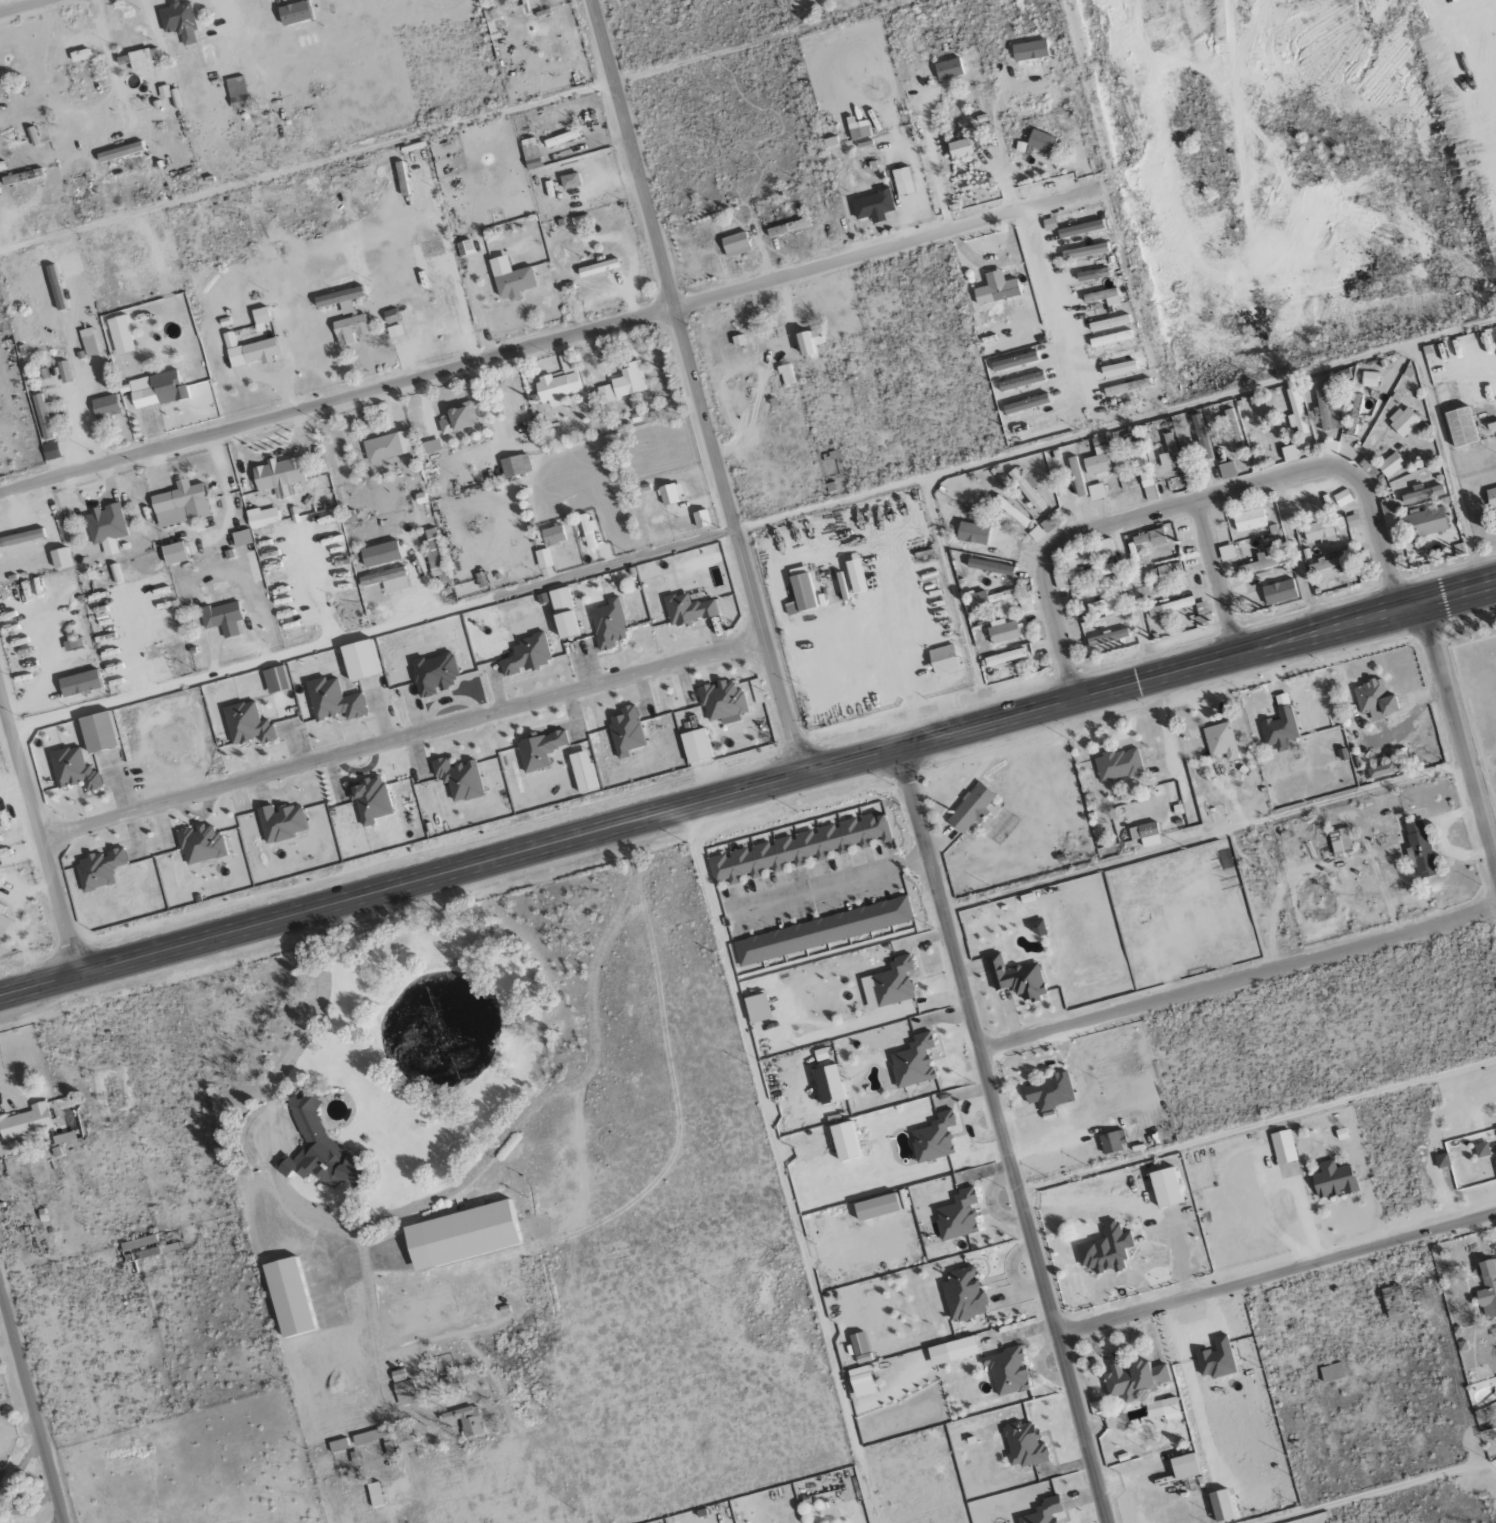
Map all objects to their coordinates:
road: (19, 5)
building: (295, 13)
building: (179, 21)
building: (1029, 50)
building: (79, 55)
building: (141, 59)
building: (948, 69)
building: (1, 86)
building: (235, 87)
building: (858, 128)
building: (560, 138)
building: (1040, 141)
building: (959, 149)
building: (120, 152)
road: (307, 166)
building: (22, 176)
building: (569, 181)
building: (902, 181)
building: (872, 204)
building: (1049, 224)
building: (787, 227)
building: (1080, 229)
building: (735, 244)
building: (464, 247)
building: (1085, 251)
building: (597, 268)
building: (1091, 274)
building: (510, 279)
building: (55, 287)
building: (996, 288)
building: (1103, 296)
building: (339, 299)
road: (1051, 311)
building: (390, 316)
building: (260, 318)
building: (1108, 323)
building: (350, 329)
building: (394, 331)
building: (120, 335)
building: (1110, 338)
building: (742, 341)
building: (88, 342)
road: (547, 342)
building: (809, 343)
building: (249, 350)
building: (1014, 361)
building: (565, 363)
building: (133, 366)
building: (63, 371)
building: (786, 374)
building: (1369, 379)
building: (1021, 381)
building: (624, 383)
building: (556, 387)
building: (1127, 387)
road: (698, 388)
building: (157, 390)
building: (1026, 404)
building: (105, 408)
building: (1328, 409)
building: (1297, 412)
building: (1354, 415)
building: (43, 416)
building: (457, 418)
building: (1403, 421)
building: (1031, 425)
building: (1231, 425)
building: (1201, 436)
building: (431, 445)
building: (386, 446)
building: (1330, 447)
building: (51, 451)
building: (1289, 453)
building: (1169, 454)
building: (1097, 460)
building: (1141, 464)
building: (1365, 464)
building: (1390, 464)
building: (515, 465)
building: (1226, 470)
building: (278, 476)
building: (1076, 477)
building: (1027, 488)
building: (1308, 490)
building: (1096, 492)
building: (669, 493)
building: (1421, 494)
building: (1490, 494)
building: (1342, 498)
road: (1195, 501)
building: (180, 504)
building: (1011, 512)
building: (263, 516)
building: (701, 519)
building: (1248, 519)
building: (1425, 522)
building: (106, 527)
building: (587, 530)
building: (1317, 530)
building: (972, 533)
building: (1036, 533)
building: (553, 535)
building: (242, 537)
building: (25, 538)
building: (1150, 538)
building: (1106, 548)
building: (174, 553)
building: (1226, 553)
building: (380, 554)
building: (435, 556)
building: (60, 558)
building: (543, 558)
building: (1264, 560)
building: (1323, 565)
building: (991, 567)
building: (1169, 571)
building: (1090, 572)
building: (856, 576)
building: (387, 579)
road: (1216, 579)
building: (1251, 585)
building: (800, 591)
building: (1143, 591)
building: (1279, 592)
building: (988, 599)
building: (560, 600)
building: (1026, 605)
building: (1106, 605)
building: (1170, 606)
building: (688, 610)
building: (222, 618)
building: (608, 624)
building: (1004, 631)
road: (374, 632)
building: (1107, 637)
building: (526, 656)
building: (1005, 657)
building: (943, 659)
building: (356, 660)
building: (434, 674)
building: (275, 679)
building: (80, 682)
building: (1374, 699)
building: (333, 701)
building: (722, 702)
building: (247, 723)
building: (1279, 725)
building: (97, 732)
building: (625, 732)
road: (402, 736)
road: (1459, 739)
building: (1220, 741)
building: (695, 746)
building: (539, 750)
building: (1117, 764)
building: (73, 769)
building: (1380, 770)
building: (582, 772)
building: (458, 779)
road: (748, 792)
building: (369, 799)
building: (971, 808)
building: (280, 822)
road: (39, 832)
building: (1145, 834)
building: (1340, 841)
building: (201, 844)
building: (1418, 848)
building: (795, 849)
building: (99, 868)
building: (3, 921)
building: (1036, 927)
building: (823, 931)
building: (1016, 978)
road: (1238, 978)
building: (889, 984)
building: (757, 1007)
building: (913, 1061)
building: (828, 1084)
building: (1048, 1092)
building: (26, 1122)
road: (1004, 1136)
building: (64, 1137)
building: (933, 1138)
building: (844, 1141)
building: (1112, 1142)
building: (1283, 1146)
building: (317, 1148)
building: (1481, 1150)
building: (1495, 1151)
building: (1441, 1160)
building: (1332, 1180)
building: (1164, 1187)
building: (876, 1207)
building: (957, 1216)
building: (470, 1234)
building: (1105, 1249)
building: (138, 1252)
road: (1277, 1273)
building: (1487, 1285)
building: (963, 1294)
building: (288, 1297)
building: (1393, 1302)
building: (952, 1350)
building: (1216, 1359)
building: (1006, 1371)
building: (1331, 1372)
building: (398, 1376)
building: (1134, 1379)
building: (861, 1381)
building: (405, 1392)
road: (32, 1405)
building: (1161, 1407)
building: (466, 1420)
building: (1024, 1444)
building: (338, 1445)
building: (1183, 1467)
building: (1, 1470)
building: (375, 1495)
building: (1220, 1506)
building: (1043, 1512)

